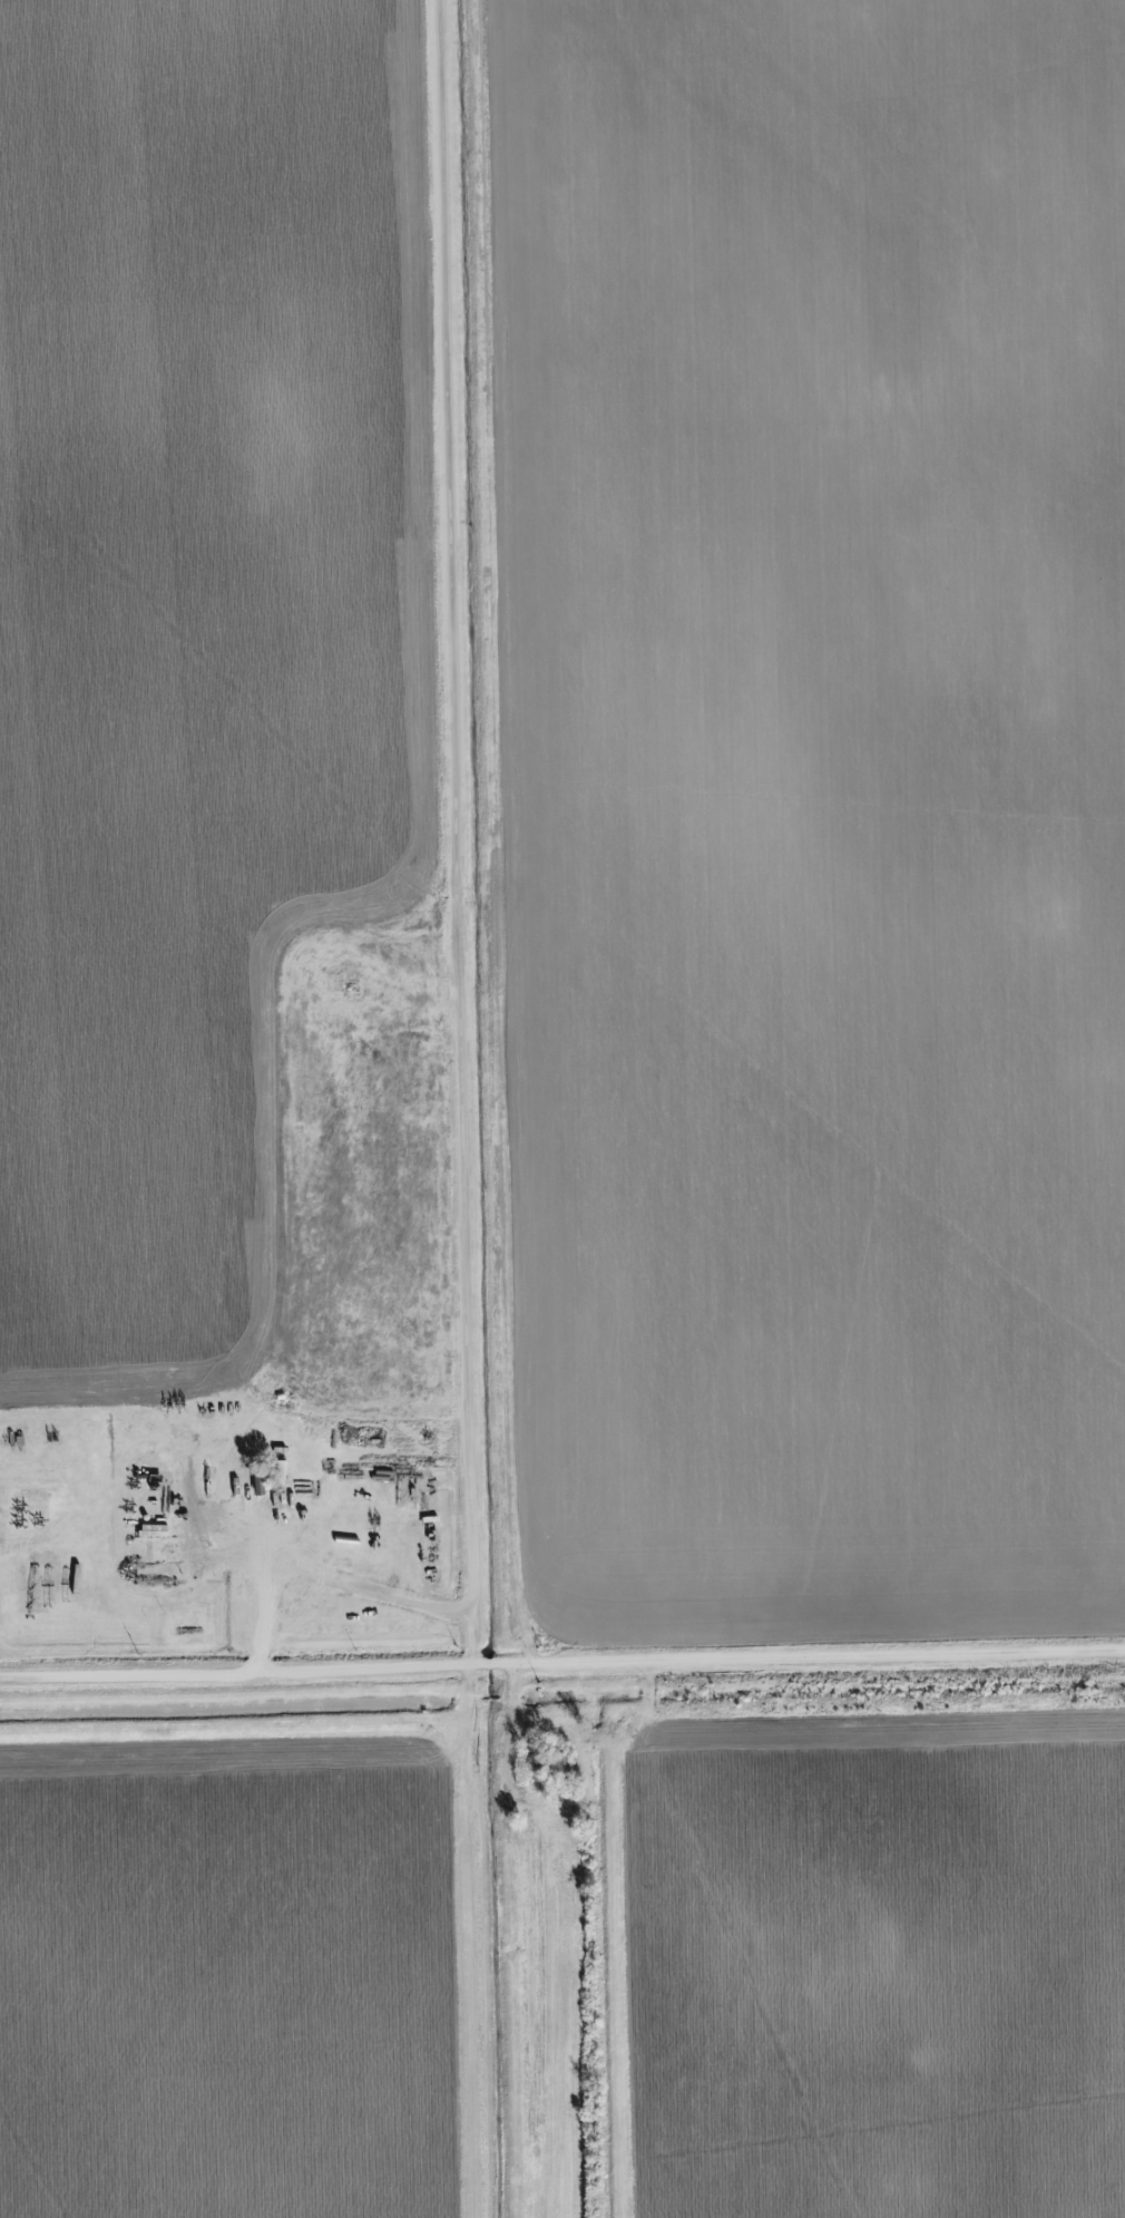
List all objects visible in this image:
road: (459, 831)
road: (330, 1578)
road: (562, 1663)

